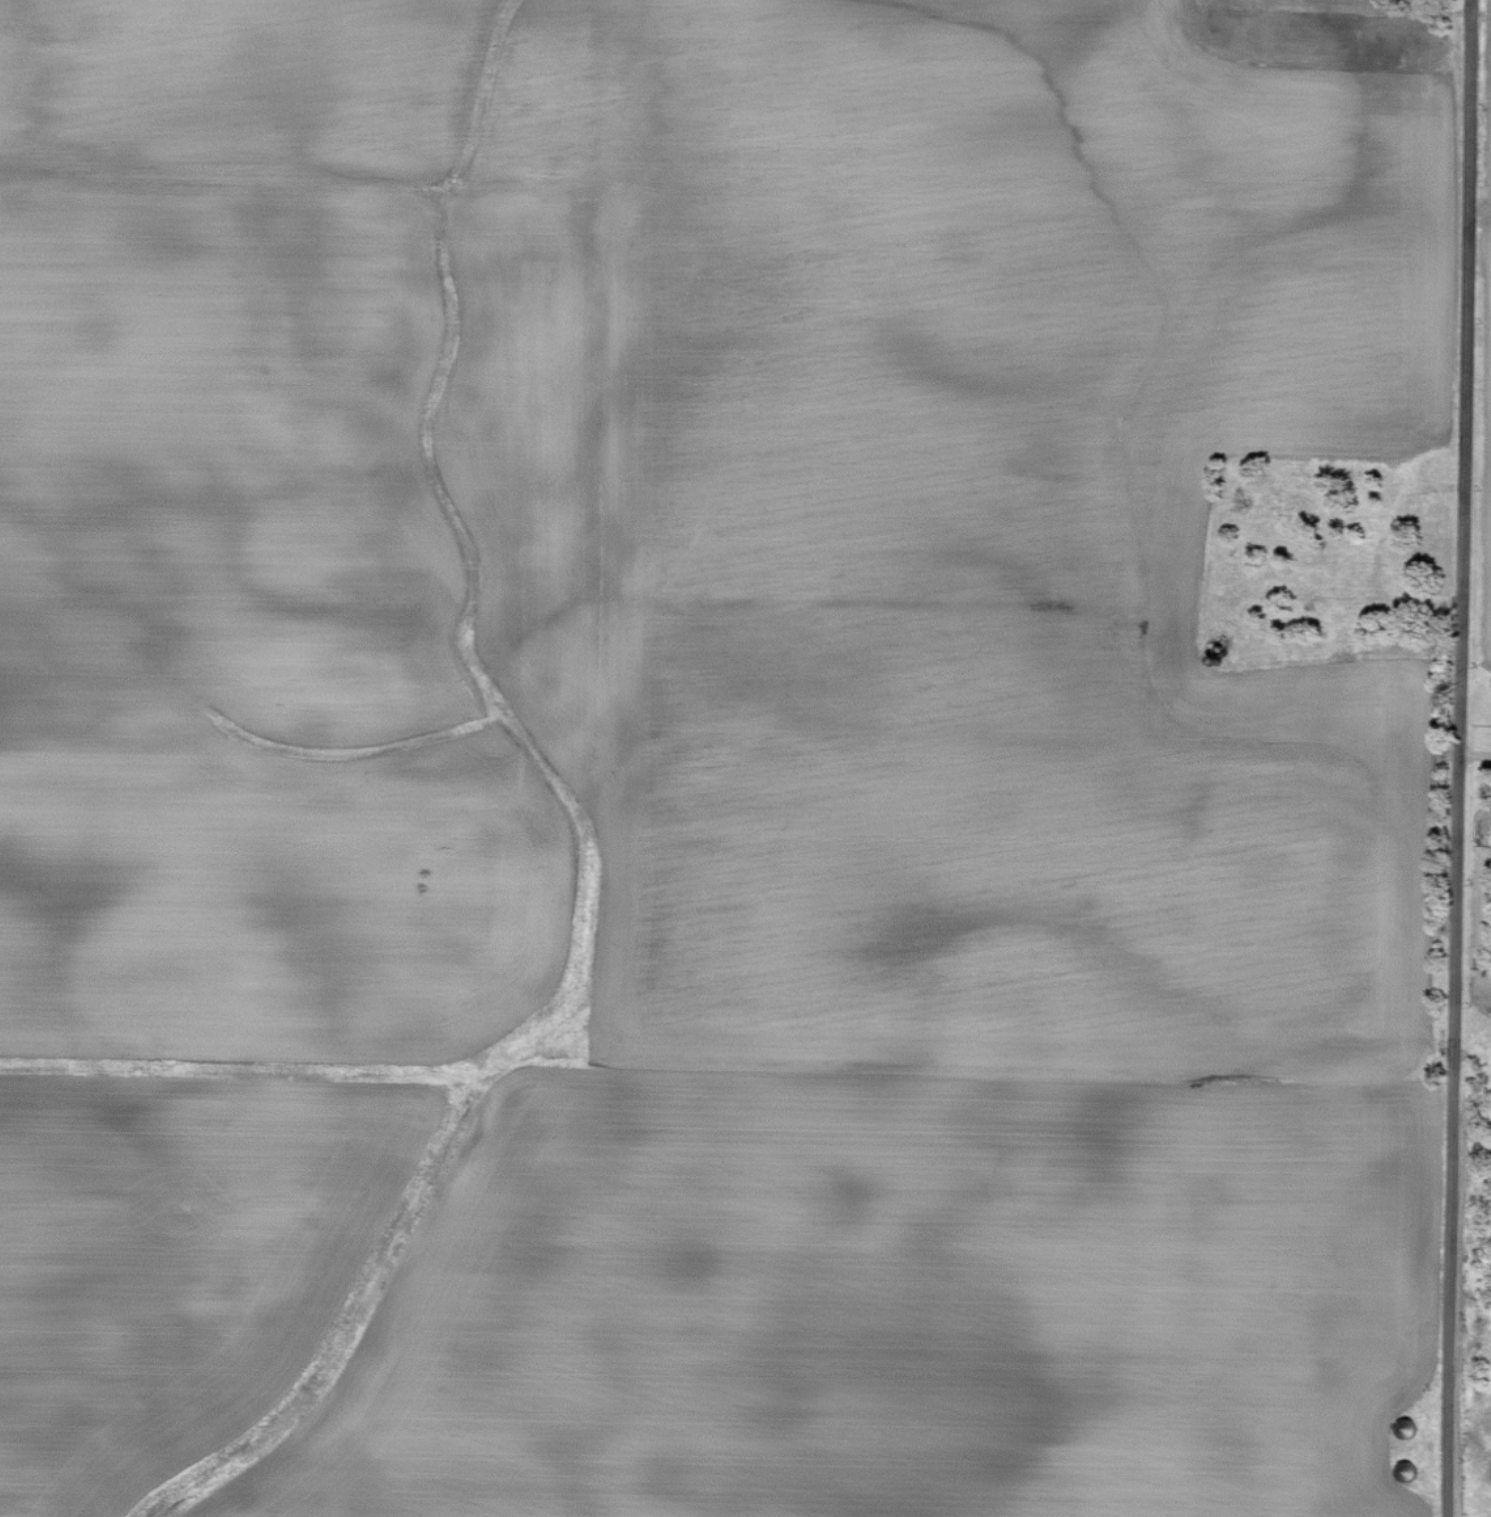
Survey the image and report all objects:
road: (1462, 758)

